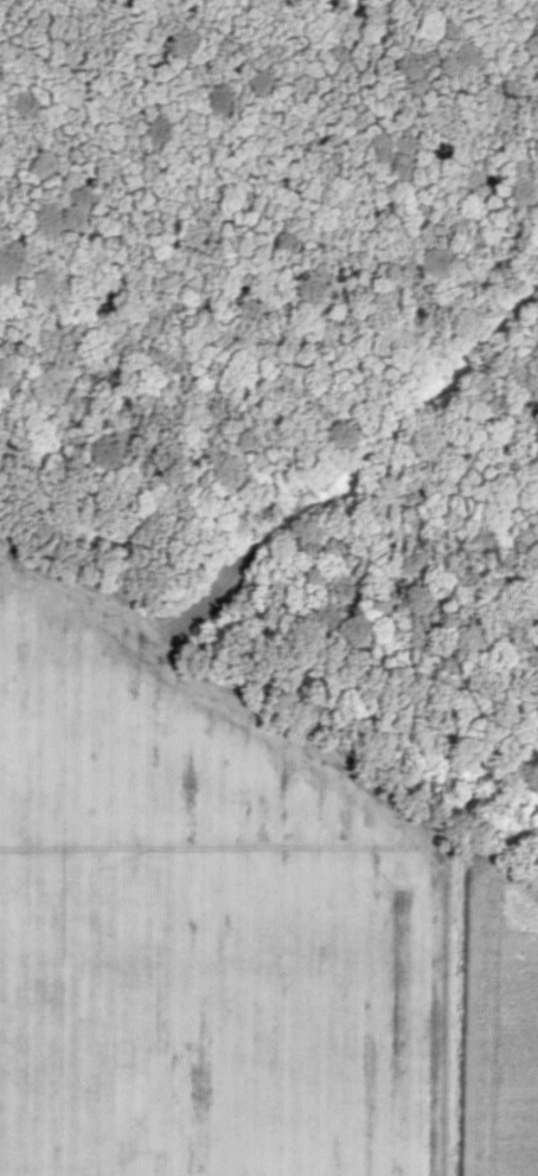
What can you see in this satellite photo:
road: (7, 559)
road: (273, 715)

